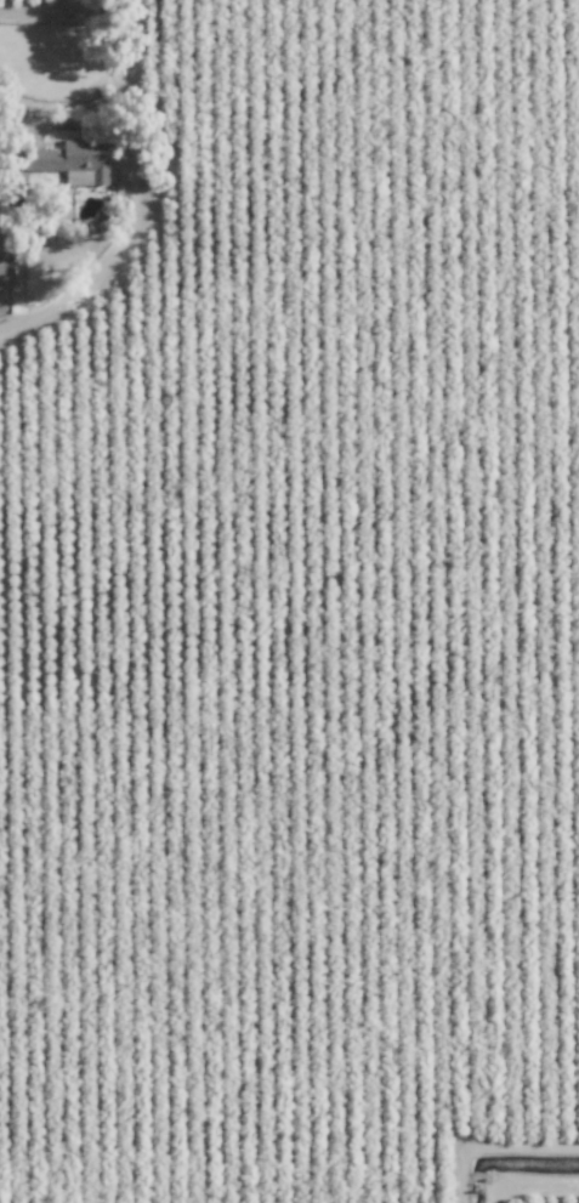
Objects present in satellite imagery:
road: (41, 8)
building: (69, 161)
road: (135, 191)

